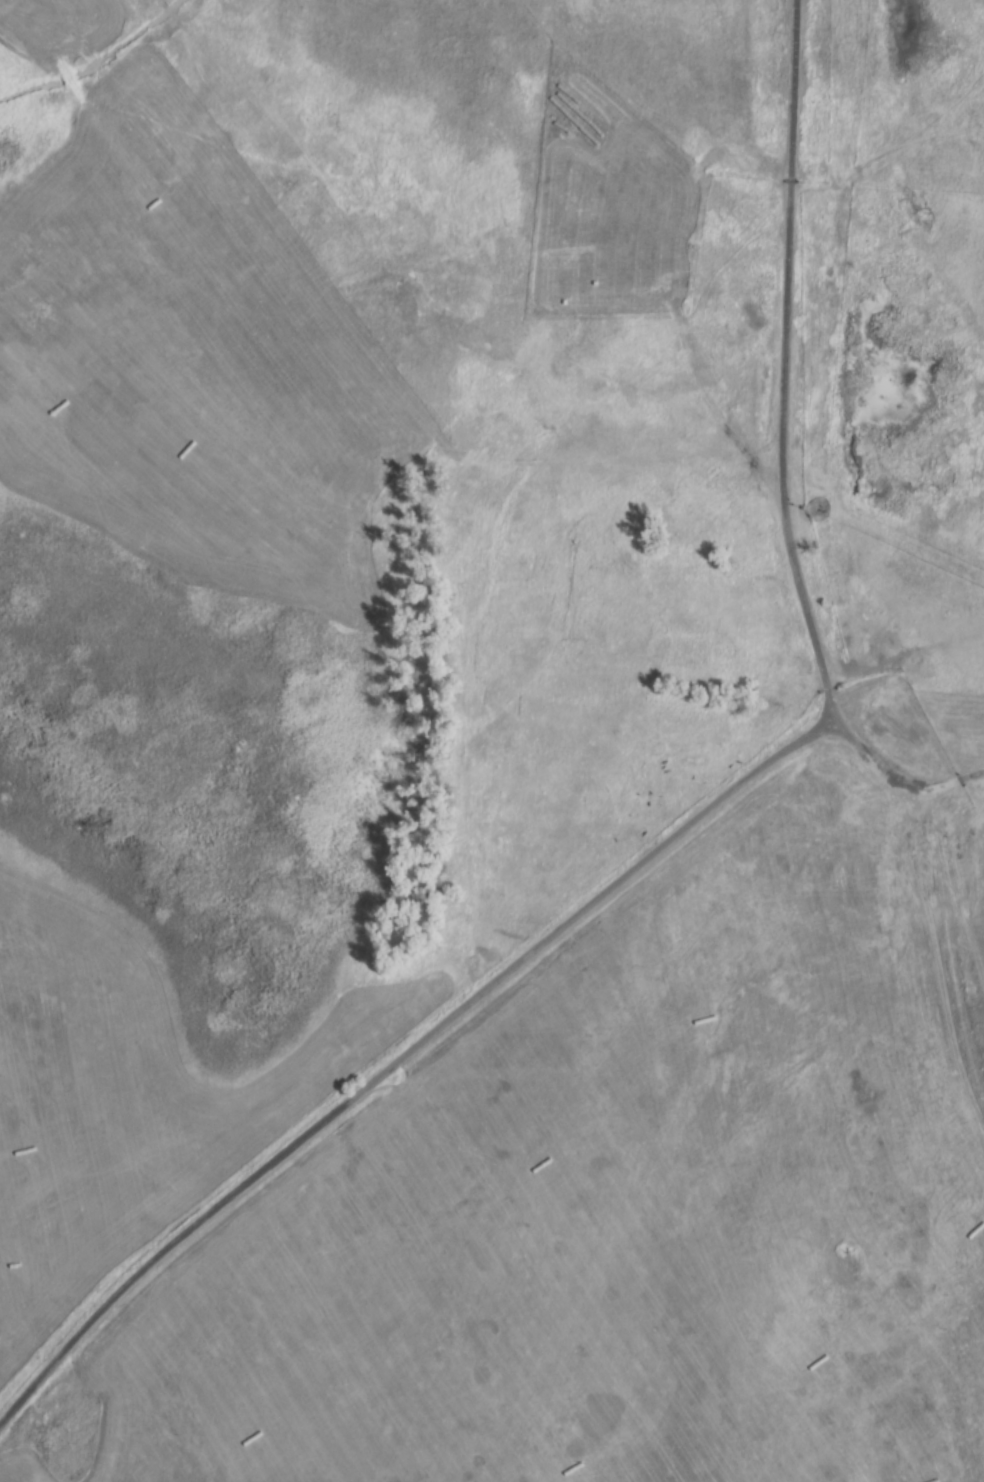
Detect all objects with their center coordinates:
road: (899, 782)
road: (685, 829)
road: (953, 930)
airport runway: (857, 1148)

